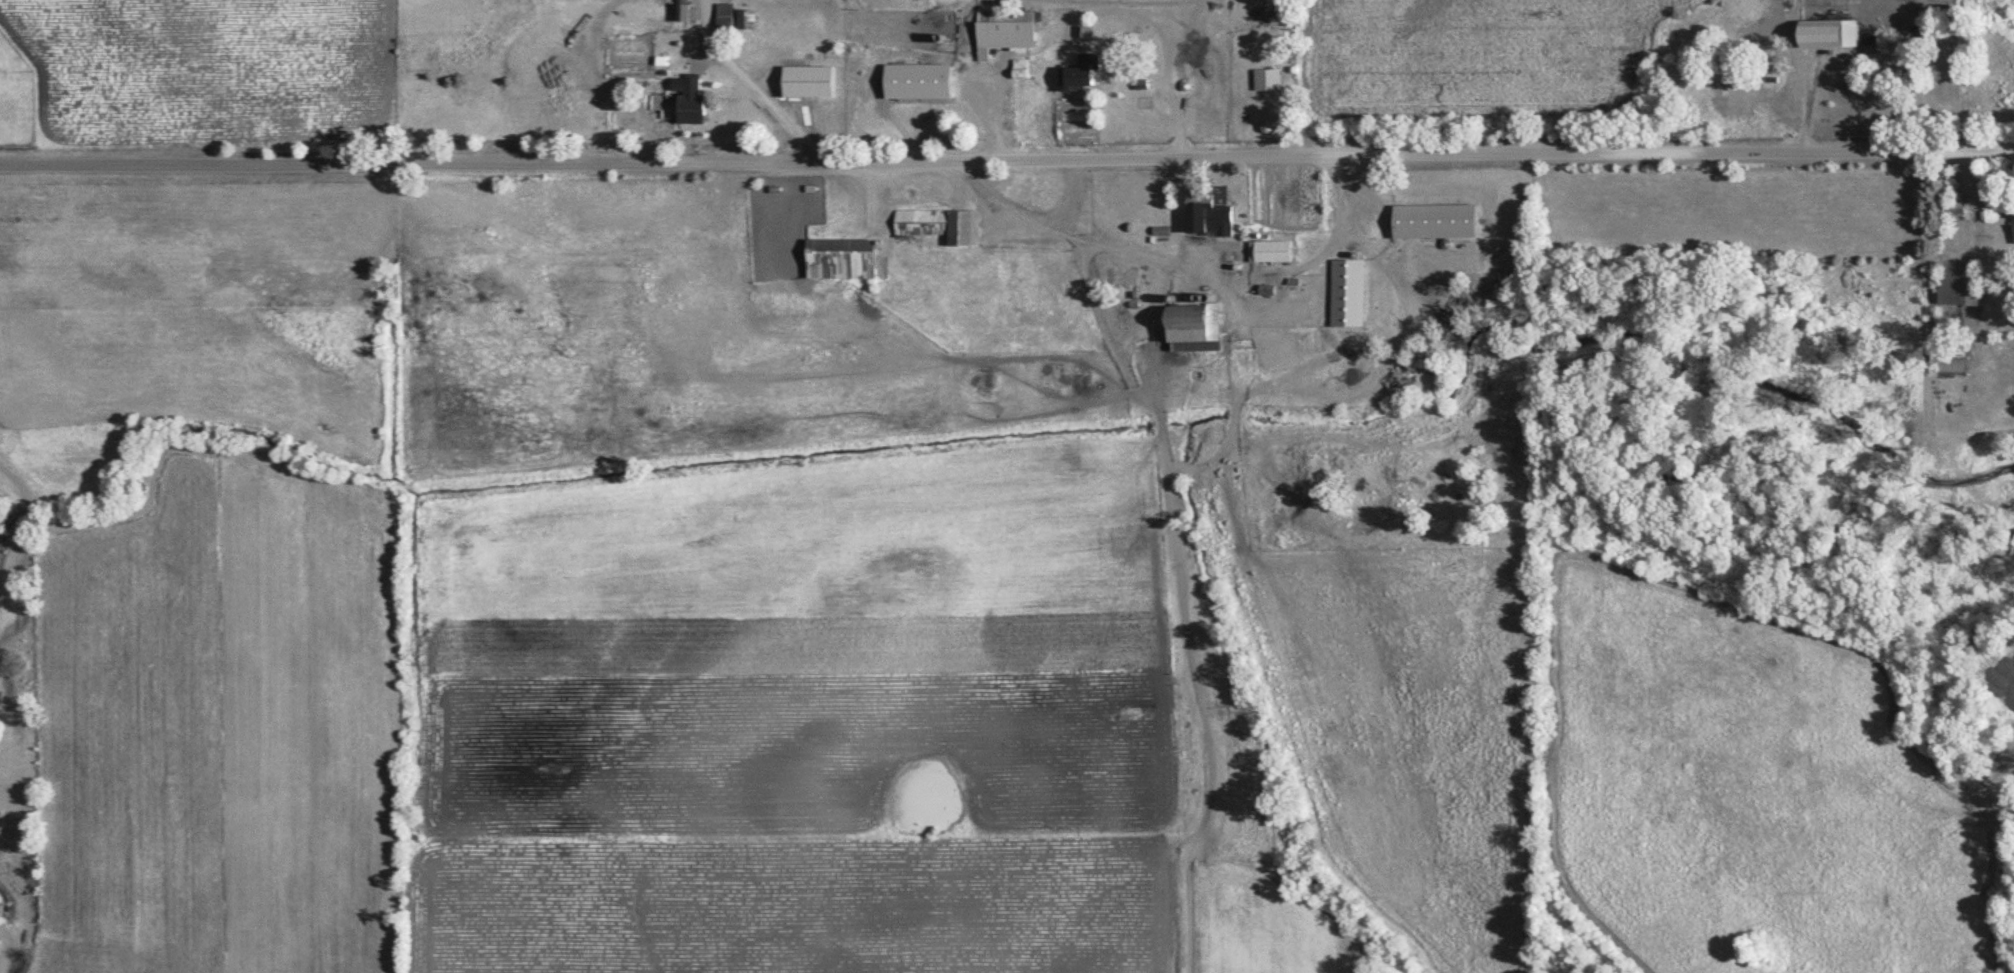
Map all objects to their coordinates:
building: (686, 10)
building: (724, 14)
building: (745, 17)
building: (1828, 31)
building: (1078, 72)
building: (1266, 77)
building: (807, 79)
building: (688, 97)
building: (1141, 100)
road: (1007, 157)
building: (1207, 210)
building: (1432, 219)
building: (939, 223)
building: (2013, 225)
building: (1159, 229)
building: (1269, 249)
building: (839, 257)
building: (1265, 288)
building: (1346, 291)
building: (1258, 318)
building: (1192, 326)
building: (1947, 363)

